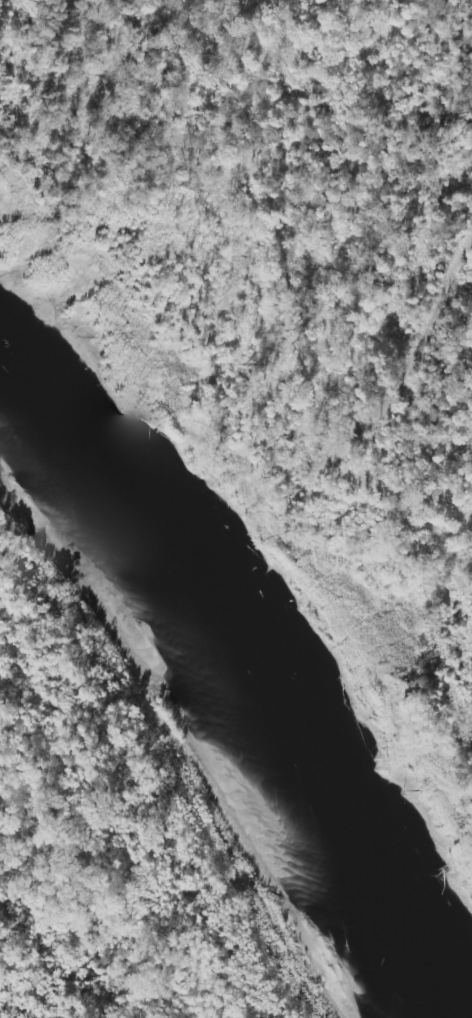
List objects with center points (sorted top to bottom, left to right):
river: (202, 708)

